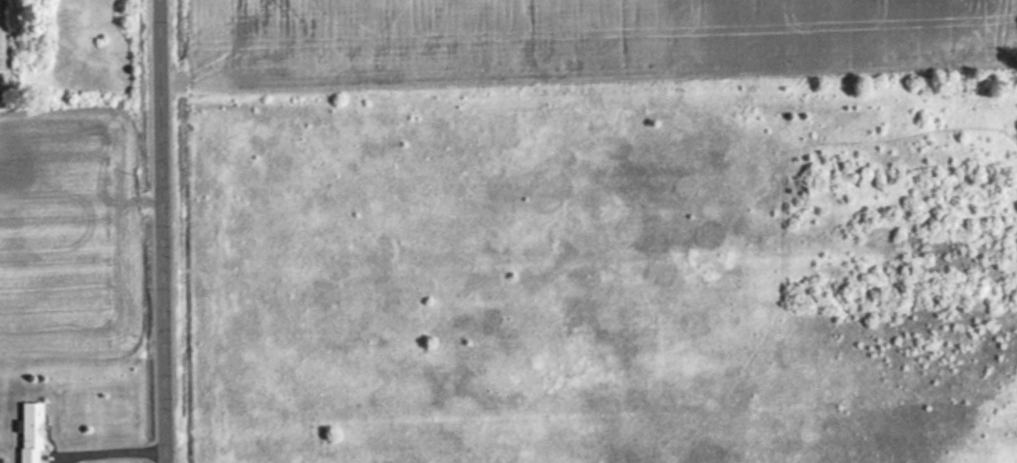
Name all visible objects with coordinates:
road: (163, 231)
building: (31, 431)

